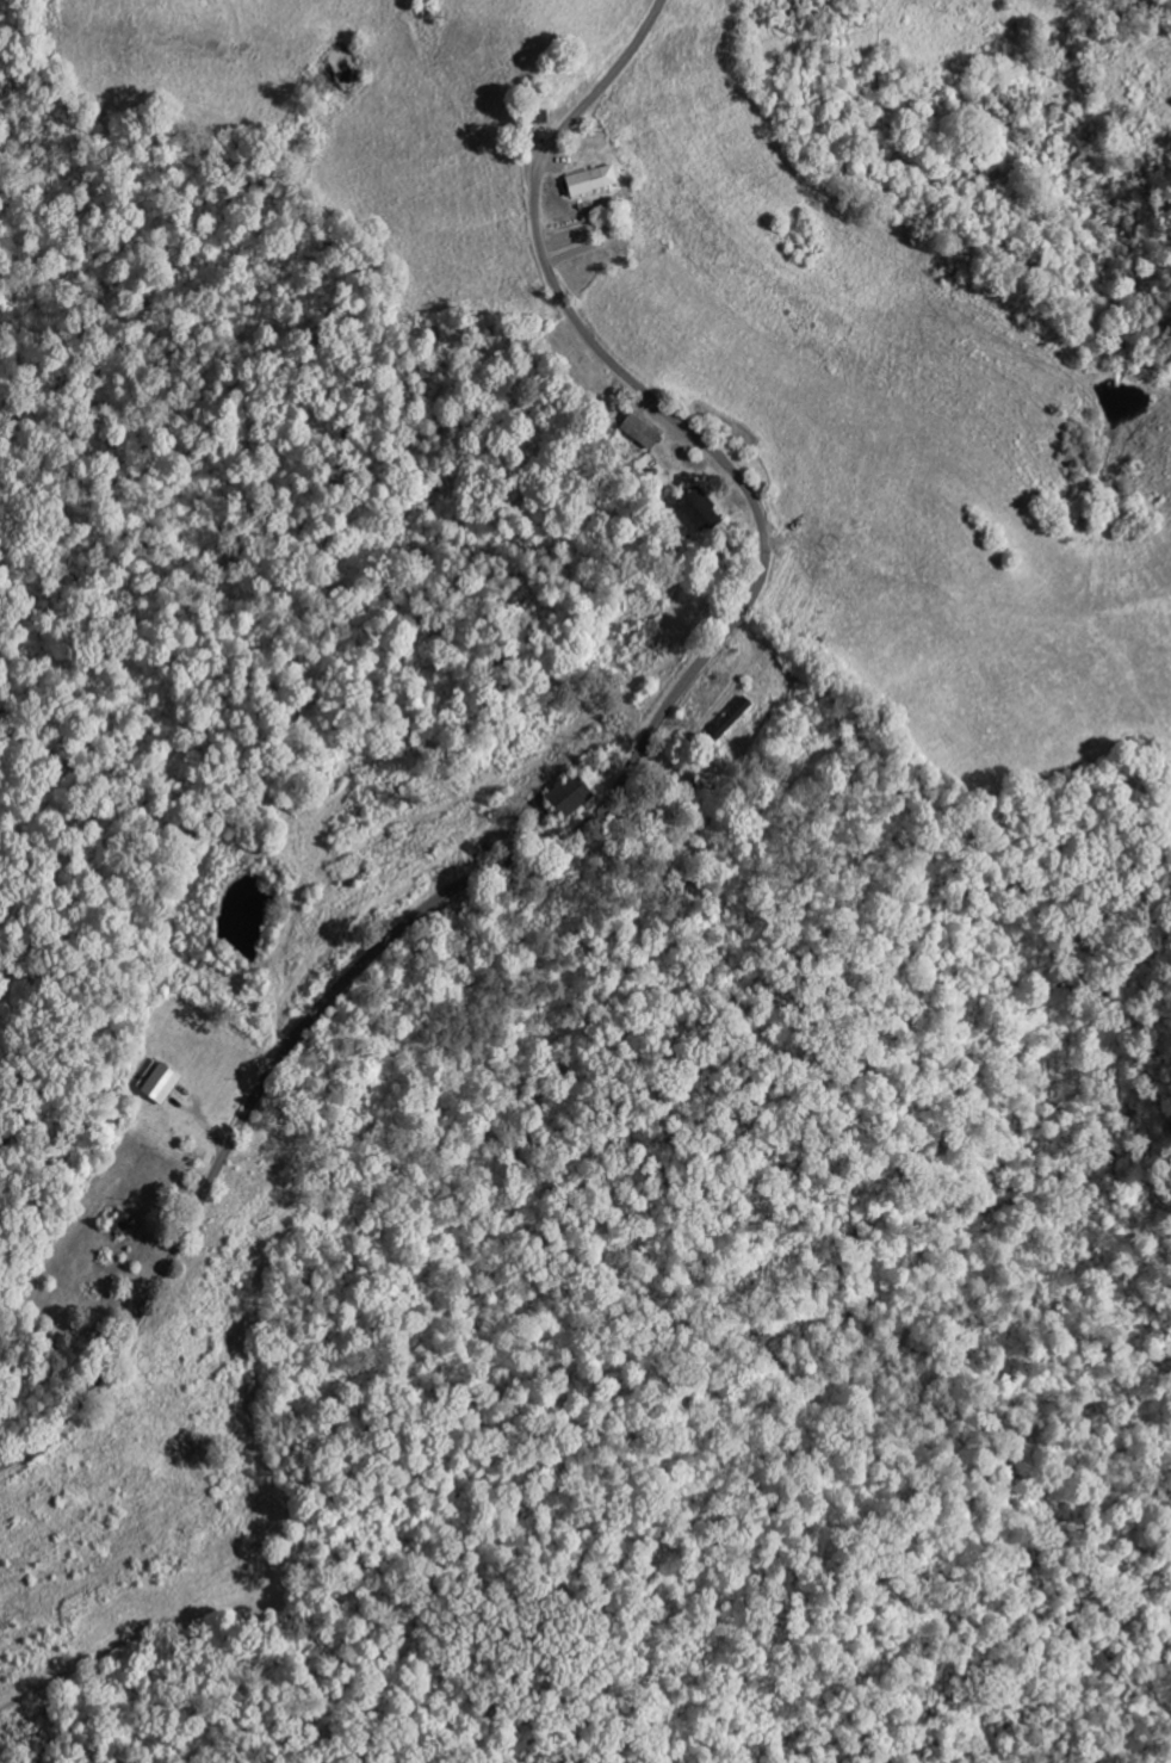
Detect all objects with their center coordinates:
building: (589, 183)
building: (645, 432)
building: (704, 513)
building: (733, 720)
road: (621, 779)
building: (695, 781)
building: (575, 797)
building: (165, 1085)
building: (123, 1225)

